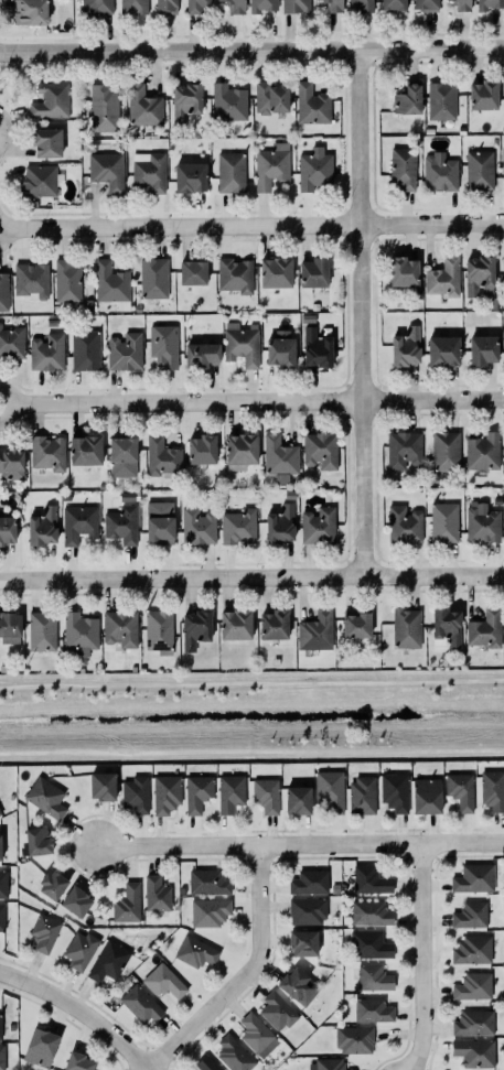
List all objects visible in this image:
building: (489, 3)
building: (393, 4)
building: (426, 4)
building: (461, 4)
building: (167, 6)
building: (196, 6)
building: (235, 6)
building: (261, 6)
building: (294, 6)
building: (333, 6)
building: (360, 6)
building: (96, 7)
building: (132, 7)
building: (30, 12)
road: (251, 48)
building: (483, 95)
building: (270, 98)
building: (408, 98)
building: (50, 100)
building: (441, 100)
building: (185, 101)
building: (228, 101)
building: (311, 104)
building: (142, 106)
building: (104, 107)
road: (6, 130)
building: (46, 142)
building: (494, 142)
building: (140, 156)
building: (503, 163)
building: (271, 165)
building: (314, 169)
building: (403, 169)
building: (106, 170)
building: (479, 171)
building: (439, 172)
building: (150, 173)
building: (230, 173)
building: (190, 177)
building: (37, 181)
road: (430, 224)
road: (179, 226)
building: (503, 269)
building: (276, 271)
building: (404, 271)
building: (193, 272)
building: (313, 272)
building: (478, 273)
building: (234, 274)
building: (153, 278)
building: (443, 278)
building: (31, 279)
building: (66, 281)
building: (110, 282)
building: (3, 291)
building: (314, 307)
building: (137, 309)
road: (357, 312)
building: (308, 317)
building: (11, 342)
building: (242, 344)
building: (163, 345)
building: (503, 346)
building: (317, 347)
building: (406, 347)
building: (85, 349)
building: (483, 349)
building: (280, 350)
building: (442, 350)
building: (46, 352)
building: (125, 352)
building: (202, 355)
road: (251, 401)
road: (135, 415)
building: (122, 448)
building: (242, 448)
building: (403, 448)
building: (85, 450)
building: (202, 450)
building: (320, 450)
building: (444, 451)
building: (482, 451)
building: (47, 452)
building: (161, 456)
building: (279, 456)
building: (11, 464)
building: (128, 496)
building: (443, 522)
building: (78, 523)
building: (279, 523)
building: (482, 523)
building: (121, 525)
building: (318, 525)
building: (404, 525)
building: (197, 526)
building: (237, 526)
building: (42, 527)
building: (7, 529)
building: (160, 529)
road: (251, 576)
building: (236, 624)
building: (356, 624)
building: (274, 625)
building: (447, 626)
building: (9, 627)
building: (120, 628)
building: (195, 628)
building: (406, 628)
building: (158, 629)
building: (485, 629)
building: (42, 631)
building: (79, 631)
building: (315, 631)
road: (463, 681)
road: (211, 684)
park: (254, 716)
road: (112, 746)
road: (365, 749)
building: (103, 786)
building: (330, 790)
building: (460, 790)
building: (493, 790)
building: (394, 791)
building: (229, 792)
building: (165, 793)
building: (197, 793)
building: (136, 795)
building: (266, 795)
building: (362, 795)
building: (11, 796)
building: (427, 796)
building: (45, 798)
building: (298, 800)
building: (0, 812)
building: (0, 814)
building: (37, 841)
road: (299, 843)
building: (0, 847)
building: (473, 877)
building: (369, 879)
building: (207, 882)
building: (309, 882)
building: (52, 884)
building: (2, 885)
building: (334, 888)
building: (181, 889)
building: (156, 894)
building: (75, 901)
building: (127, 904)
building: (307, 910)
building: (208, 911)
building: (369, 912)
building: (470, 915)
building: (1, 918)
building: (44, 932)
building: (303, 941)
building: (368, 943)
building: (79, 950)
building: (472, 950)
building: (195, 952)
road: (421, 958)
building: (108, 961)
road: (244, 975)
building: (373, 976)
building: (164, 982)
building: (298, 985)
building: (472, 986)
building: (140, 1004)
building: (372, 1009)
road: (79, 1010)
building: (277, 1010)
building: (473, 1022)
building: (0, 1026)
building: (11, 1027)
building: (257, 1034)
building: (354, 1038)
building: (40, 1047)
building: (474, 1052)
building: (234, 1053)
building: (2, 1057)
building: (76, 1061)
building: (206, 1063)
building: (330, 1063)

